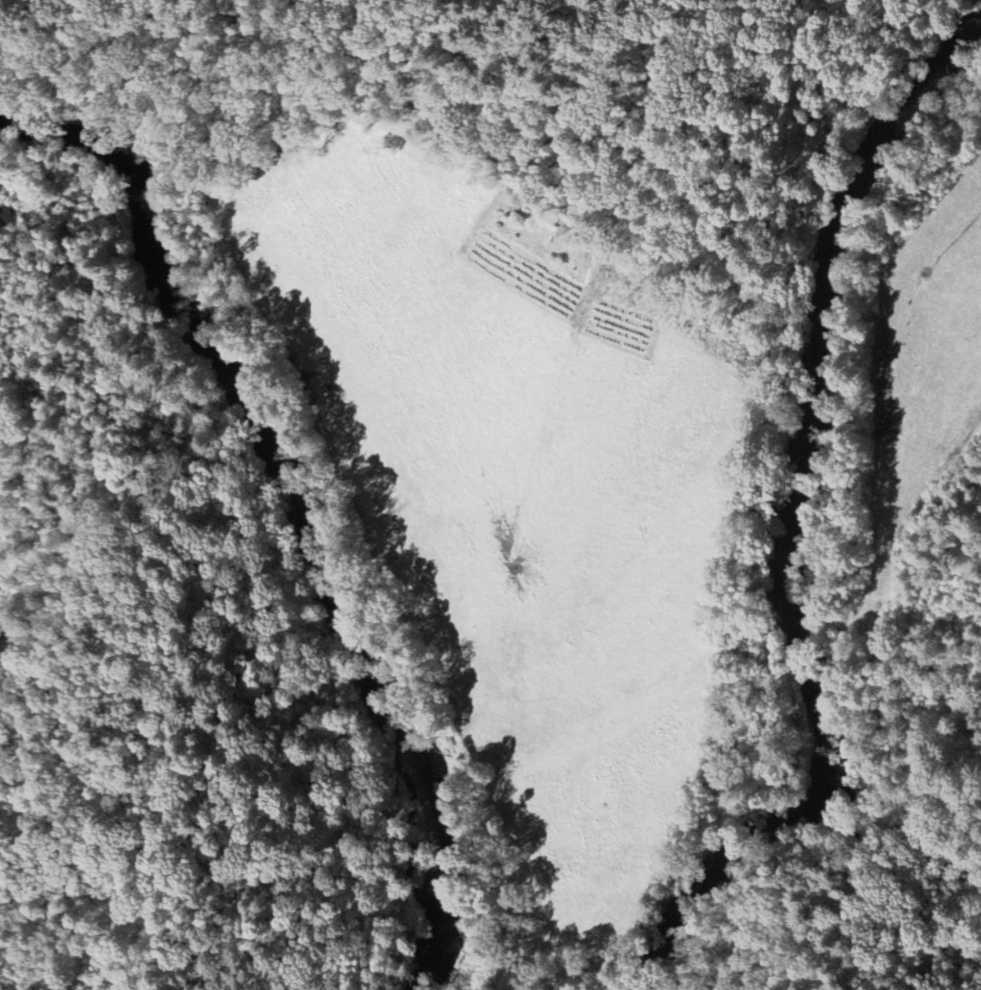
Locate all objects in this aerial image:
crop: (922, 386)
crop: (518, 491)
river: (298, 492)
river: (796, 533)
road: (760, 625)
road: (514, 964)

